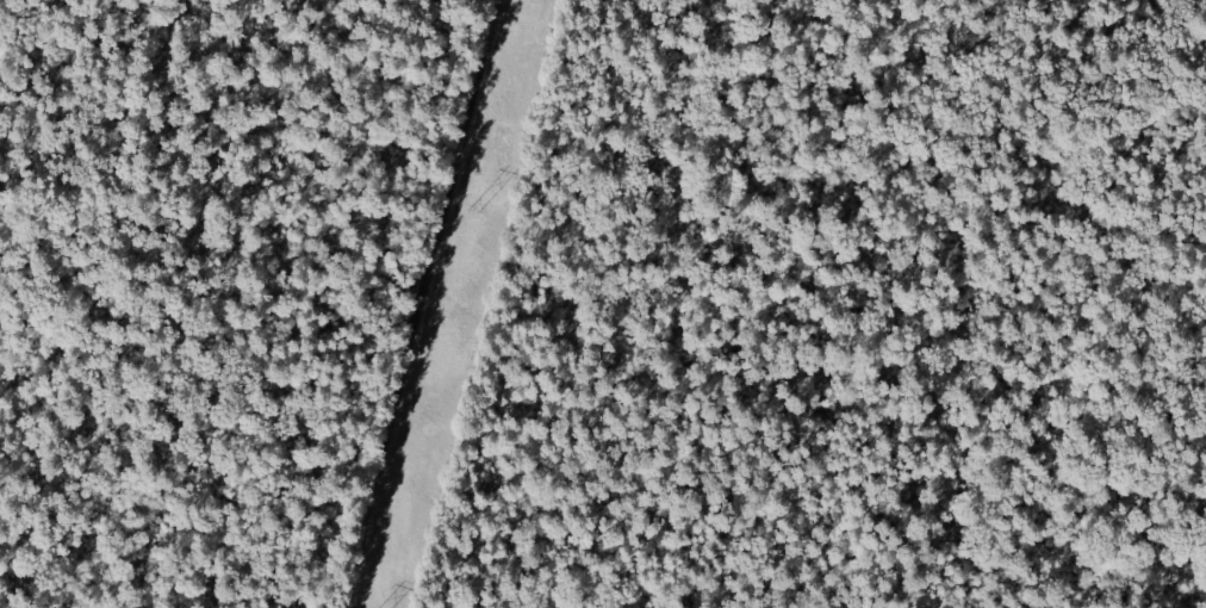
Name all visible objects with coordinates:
power tower: (474, 211)
road: (431, 304)

